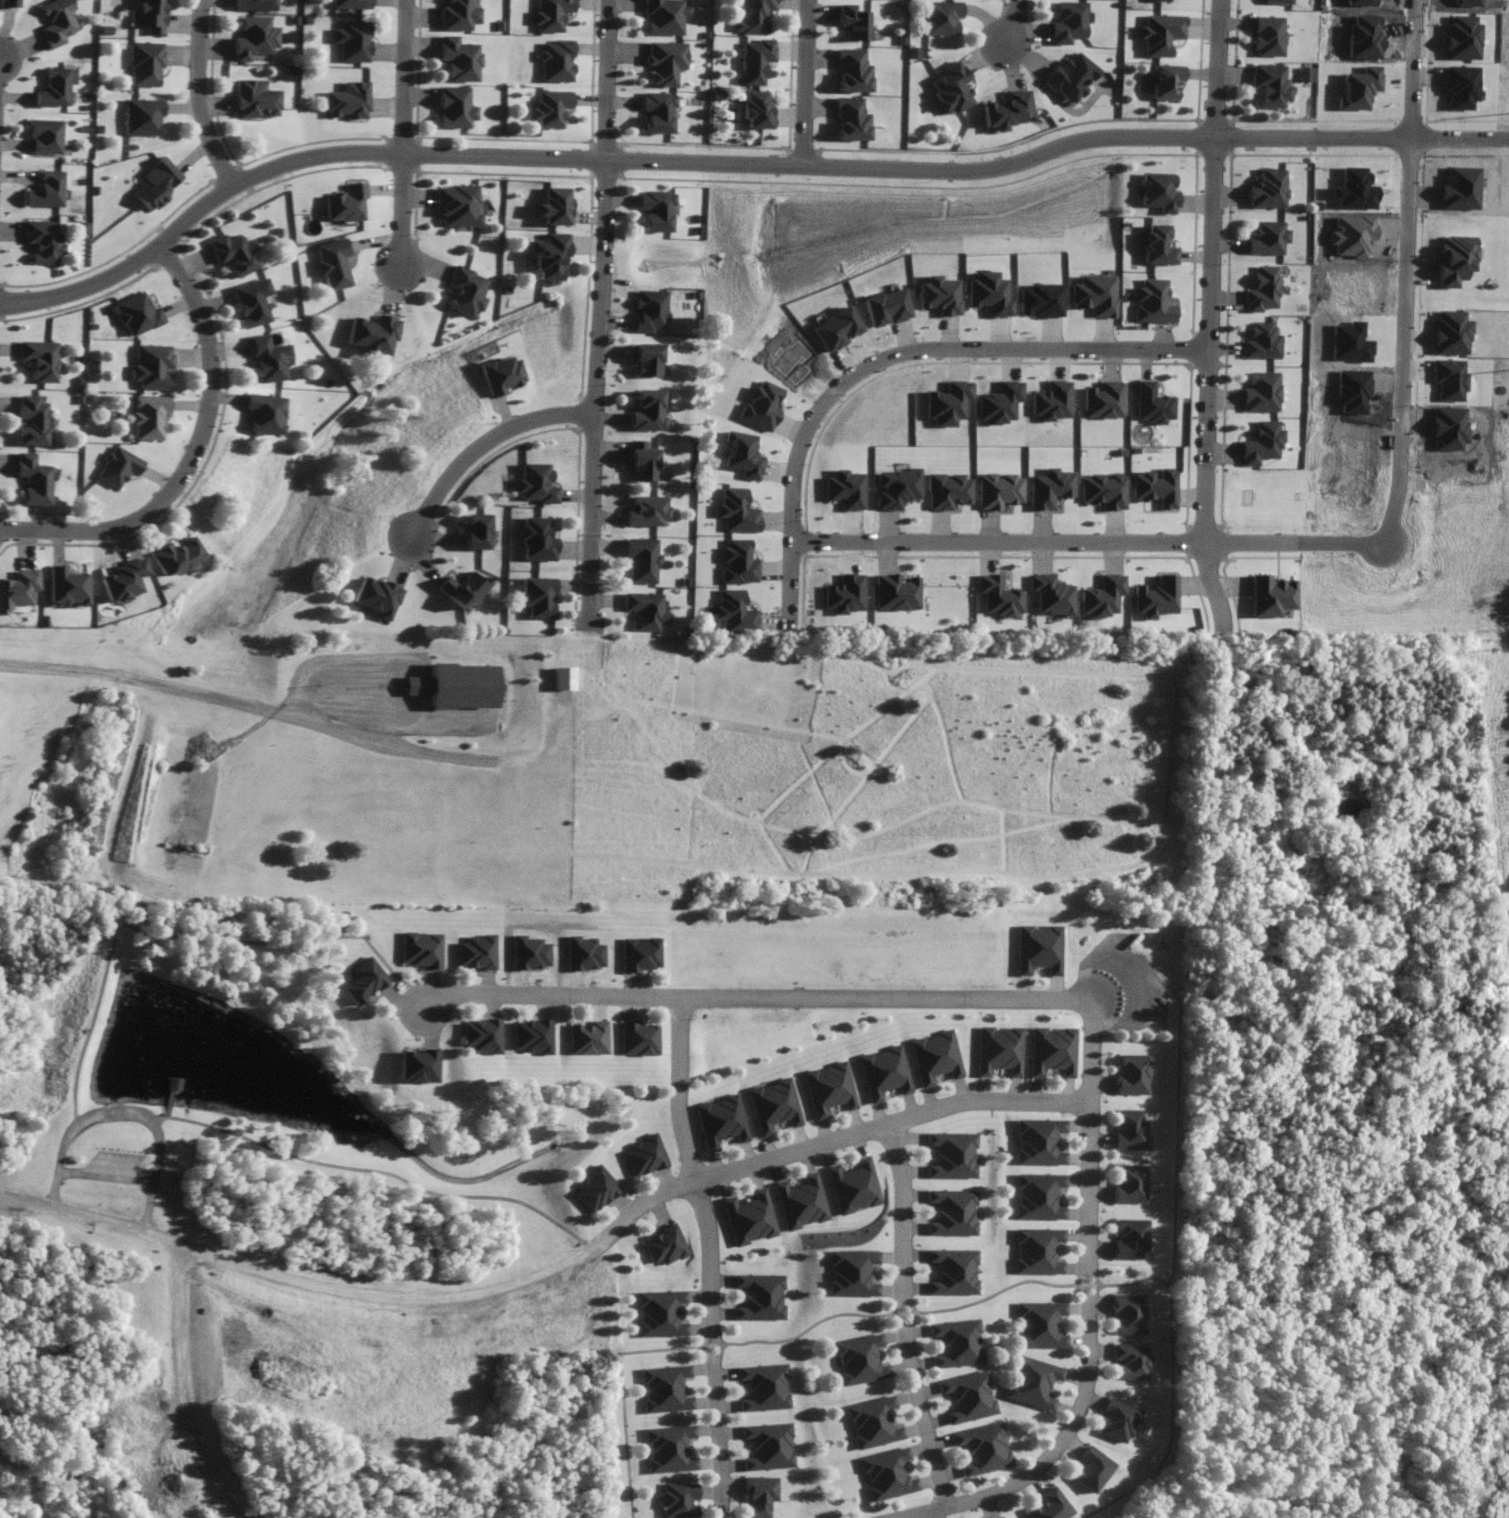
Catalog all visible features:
building: (1156, 0)
building: (1275, 1)
building: (8, 3)
building: (255, 4)
building: (349, 4)
building: (549, 14)
building: (148, 15)
building: (457, 15)
building: (663, 16)
building: (751, 16)
building: (940, 17)
building: (56, 21)
building: (852, 21)
building: (1066, 22)
road: (1013, 25)
building: (1158, 33)
building: (1267, 35)
building: (254, 37)
building: (350, 40)
building: (457, 58)
building: (554, 60)
building: (752, 60)
building: (663, 62)
building: (145, 63)
building: (851, 70)
building: (1306, 73)
building: (1068, 77)
building: (1164, 81)
road: (803, 82)
building: (1269, 84)
building: (1459, 86)
building: (54, 87)
building: (949, 87)
road: (200, 97)
building: (255, 99)
building: (346, 100)
building: (452, 107)
building: (548, 107)
building: (754, 108)
building: (1004, 109)
building: (655, 112)
building: (142, 116)
building: (849, 119)
building: (44, 135)
road: (403, 135)
road: (738, 163)
building: (156, 182)
building: (1267, 189)
building: (45, 190)
building: (1158, 191)
building: (341, 203)
building: (453, 205)
building: (549, 206)
building: (652, 210)
building: (1267, 237)
building: (42, 240)
building: (1157, 246)
building: (230, 252)
building: (546, 256)
building: (328, 263)
road: (1405, 270)
building: (1261, 289)
building: (461, 291)
building: (987, 294)
building: (1092, 294)
building: (937, 295)
building: (1040, 300)
building: (1151, 301)
building: (247, 302)
building: (885, 307)
building: (648, 310)
road: (1207, 312)
building: (134, 313)
road: (598, 314)
building: (835, 328)
building: (370, 334)
road: (1004, 341)
building: (1260, 341)
building: (262, 358)
building: (38, 359)
building: (646, 359)
building: (150, 365)
building: (500, 374)
building: (1260, 392)
building: (1050, 400)
building: (1102, 400)
building: (998, 402)
building: (946, 403)
building: (1150, 404)
building: (759, 406)
building: (647, 411)
building: (260, 413)
building: (147, 416)
building: (30, 420)
road: (481, 443)
building: (1260, 443)
road: (193, 453)
building: (741, 454)
building: (642, 461)
building: (116, 466)
building: (31, 479)
building: (535, 483)
building: (1048, 487)
building: (1153, 487)
building: (894, 488)
building: (844, 489)
building: (945, 490)
building: (996, 490)
building: (1102, 490)
road: (790, 503)
building: (647, 510)
building: (736, 510)
building: (477, 530)
building: (536, 539)
road: (1085, 543)
building: (172, 556)
building: (641, 560)
building: (737, 562)
building: (118, 580)
building: (62, 586)
building: (16, 587)
building: (464, 588)
building: (894, 592)
building: (843, 594)
building: (1049, 594)
building: (1269, 595)
building: (378, 596)
building: (538, 596)
building: (1101, 596)
building: (997, 597)
building: (1153, 597)
building: (645, 610)
building: (733, 611)
building: (563, 677)
building: (457, 685)
road: (244, 703)
building: (1038, 948)
building: (421, 949)
building: (476, 951)
building: (529, 952)
building: (583, 953)
building: (639, 953)
building: (364, 980)
road: (750, 996)
building: (480, 1035)
building: (529, 1036)
building: (584, 1037)
building: (634, 1038)
building: (999, 1050)
building: (1053, 1050)
building: (934, 1057)
building: (418, 1065)
building: (883, 1072)
building: (1134, 1074)
building: (828, 1088)
building: (772, 1105)
building: (720, 1121)
building: (1132, 1129)
building: (1040, 1141)
building: (954, 1154)
building: (643, 1155)
building: (1131, 1184)
building: (855, 1186)
building: (595, 1189)
building: (1039, 1195)
building: (802, 1202)
building: (953, 1212)
building: (752, 1218)
building: (1131, 1238)
building: (667, 1245)
building: (1037, 1250)
road: (712, 1254)
road: (556, 1267)
building: (952, 1271)
building: (851, 1272)
building: (761, 1296)
building: (660, 1313)
building: (1129, 1313)
road: (1090, 1314)
road: (903, 1316)
building: (1039, 1324)
building: (956, 1342)
building: (858, 1359)
building: (1129, 1361)
building: (1029, 1381)
road: (186, 1387)
building: (764, 1387)
building: (666, 1388)
building: (967, 1396)
building: (1113, 1420)
building: (872, 1422)
building: (769, 1446)
building: (980, 1448)
building: (670, 1449)
building: (1085, 1469)
building: (886, 1474)
building: (760, 1495)
building: (680, 1499)
building: (1043, 1505)
building: (993, 1517)

